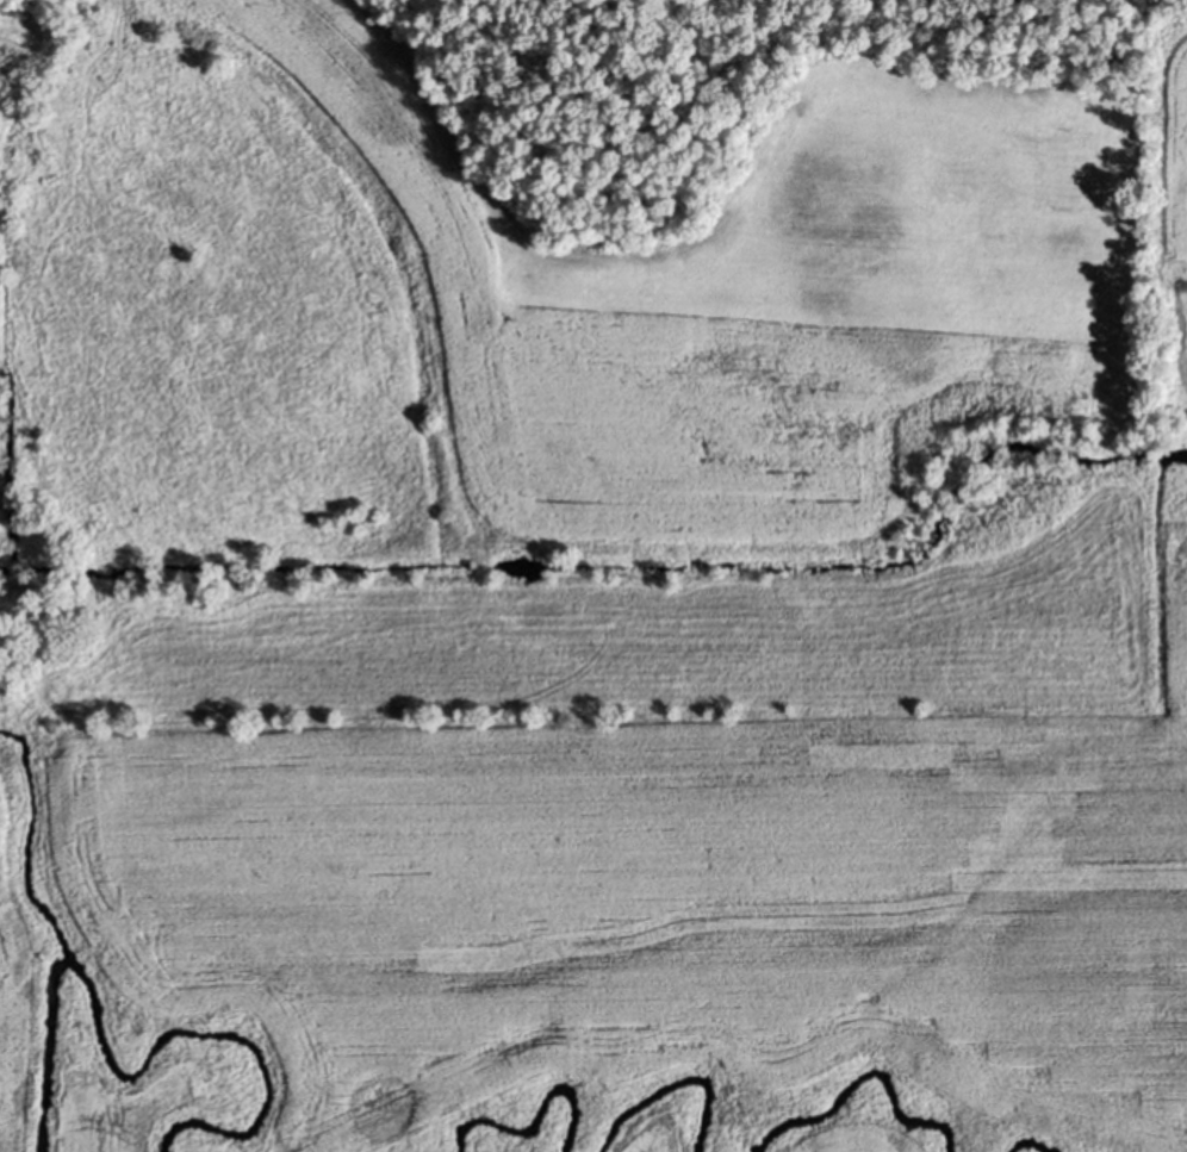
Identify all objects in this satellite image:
river: (102, 1042)
river: (864, 1092)
river: (684, 1095)
river: (548, 1121)

